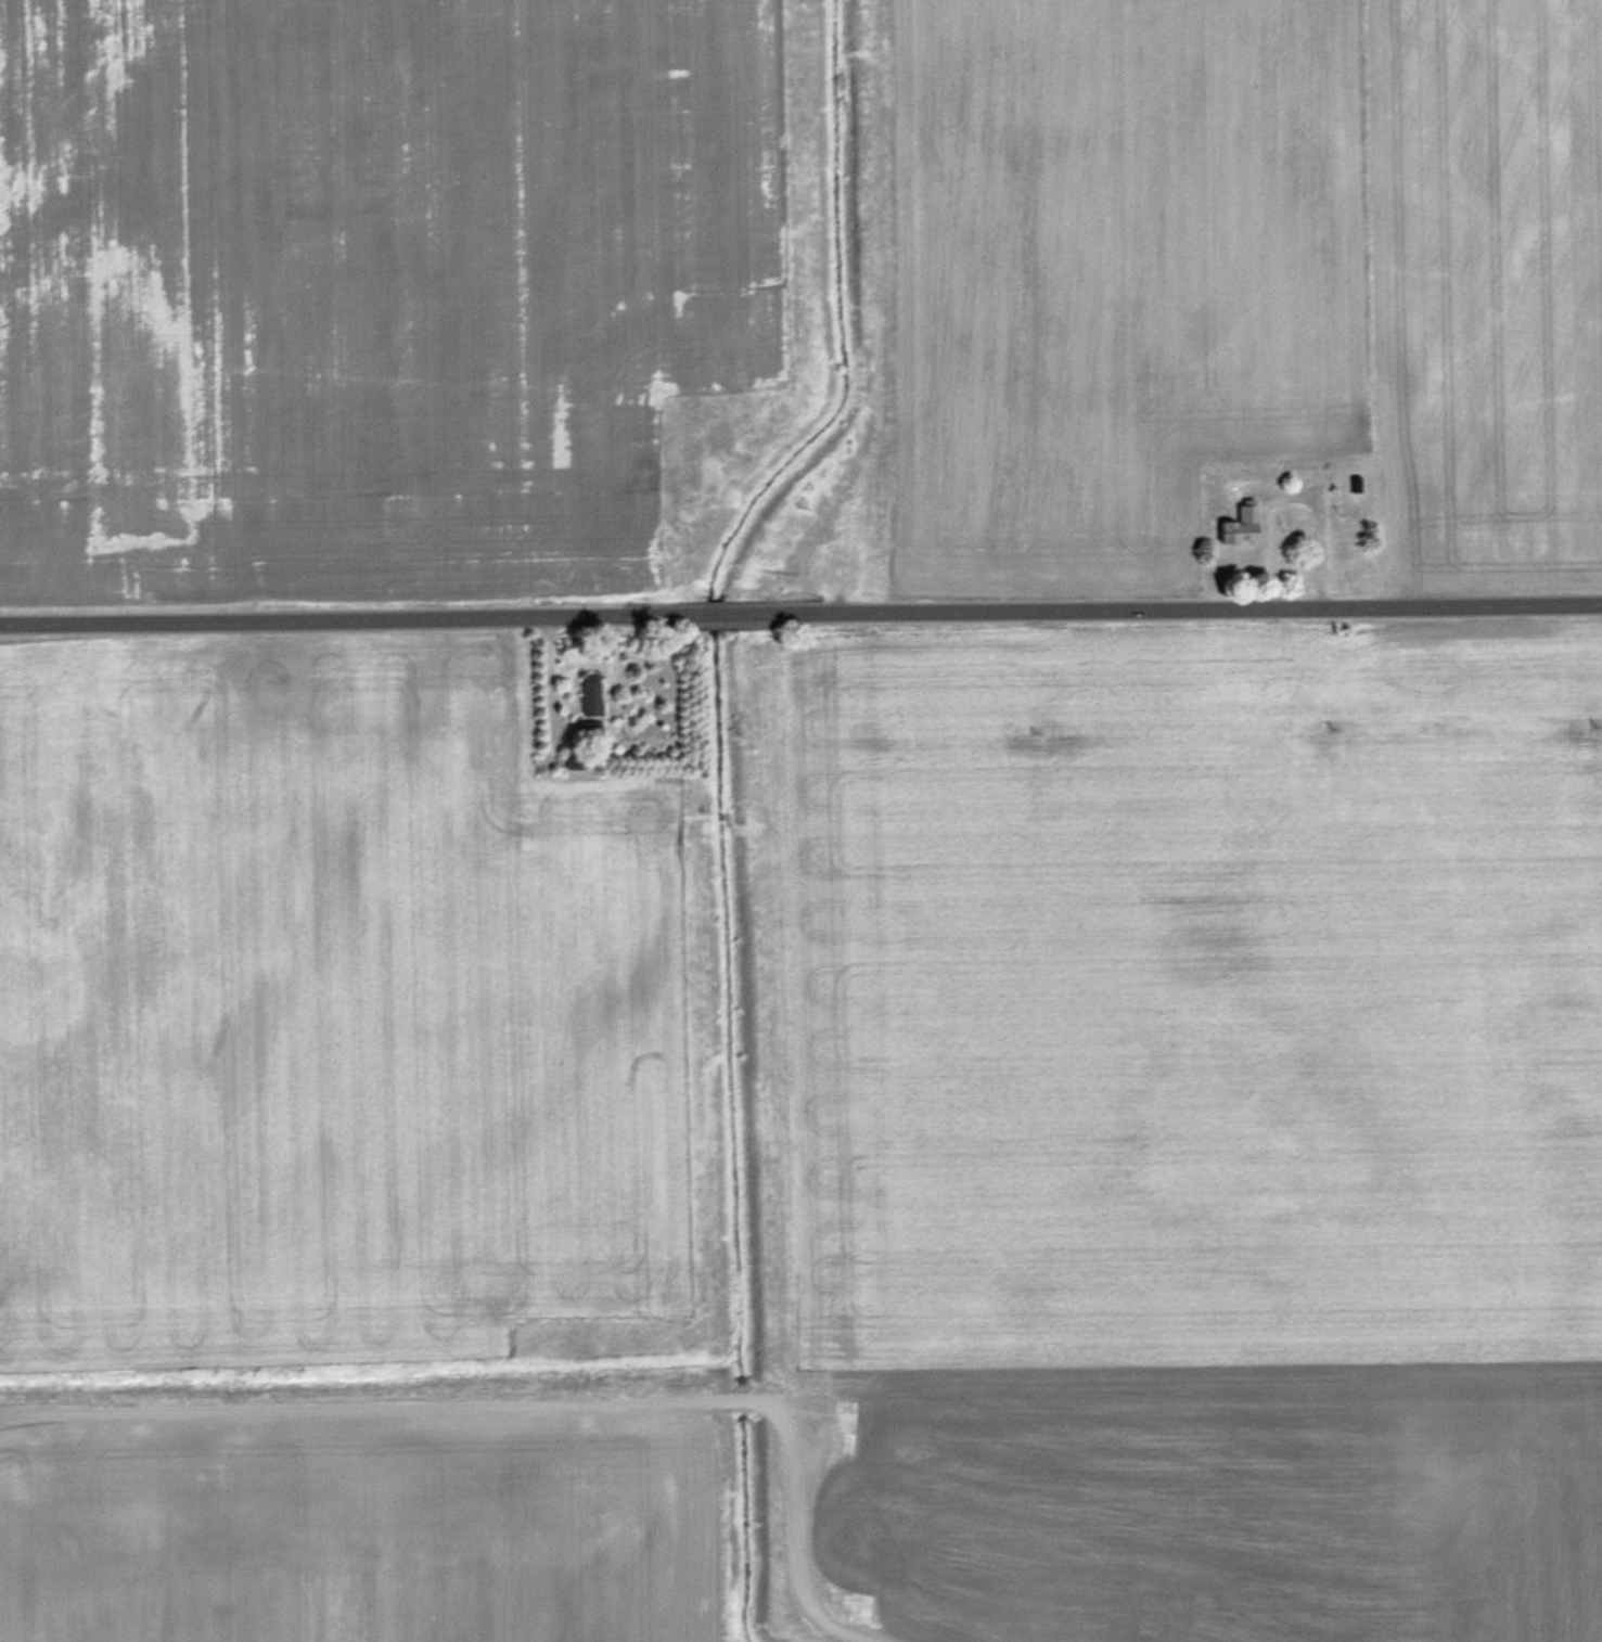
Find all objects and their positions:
building: (1361, 491)
building: (1244, 523)
road: (800, 616)
building: (592, 694)
building: (577, 760)

